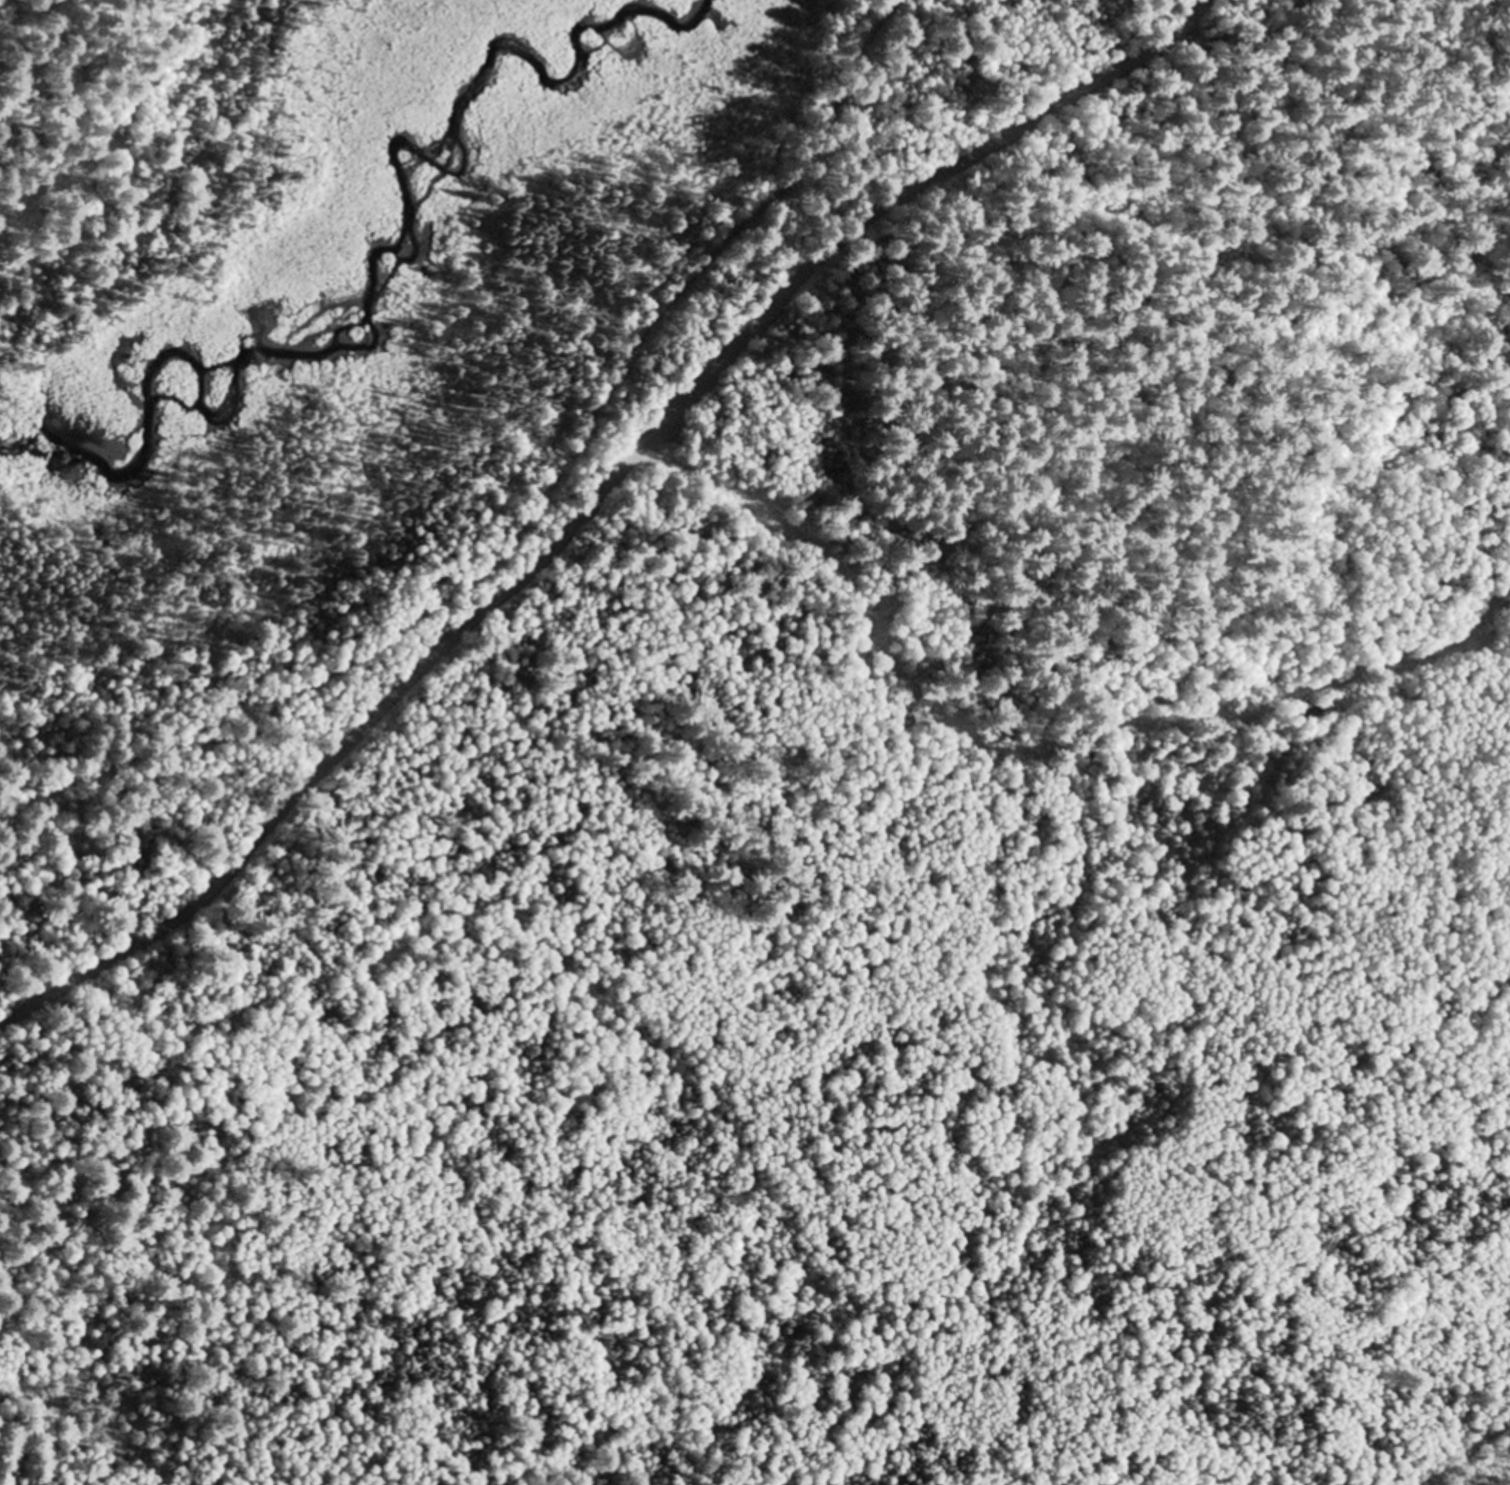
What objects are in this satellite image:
road: (596, 501)
road: (1458, 1447)

